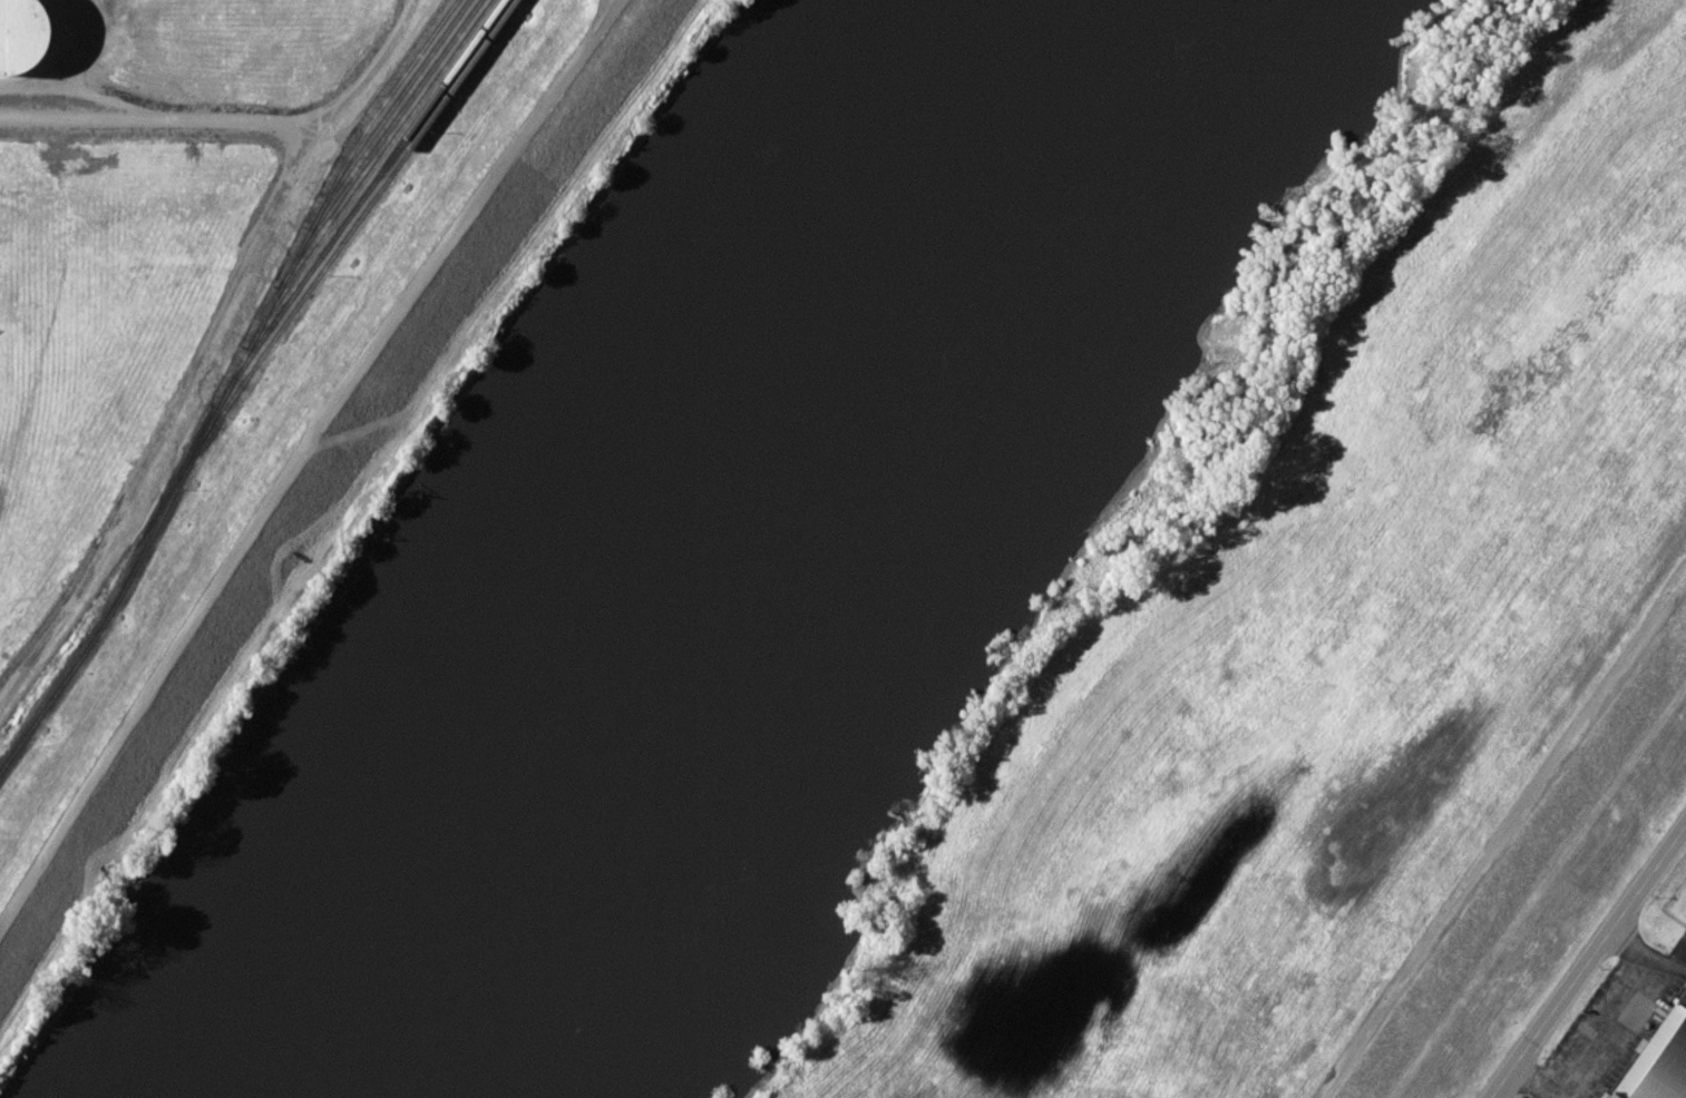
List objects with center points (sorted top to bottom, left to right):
building: (22, 35)
storage tank: (22, 35)
railway: (389, 109)
road: (237, 124)
railway: (377, 141)
railway: (369, 171)
railway: (359, 200)
railway: (308, 232)
railway: (344, 236)
road: (170, 422)
road: (302, 454)
river: (667, 526)
railway: (98, 628)
road: (1502, 835)
road: (1588, 961)
road: (1640, 1006)
road: (1582, 1017)
airport: (1629, 1017)
airport hangar: (1659, 1060)
building: (1659, 1060)
road: (1530, 1084)

